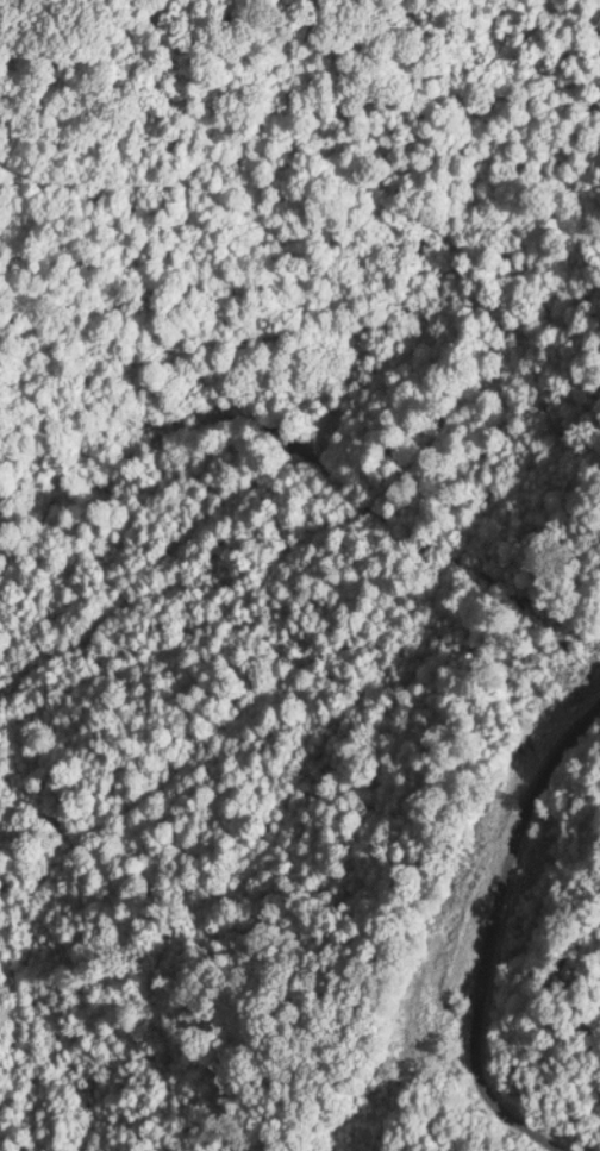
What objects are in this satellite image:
road: (494, 936)

